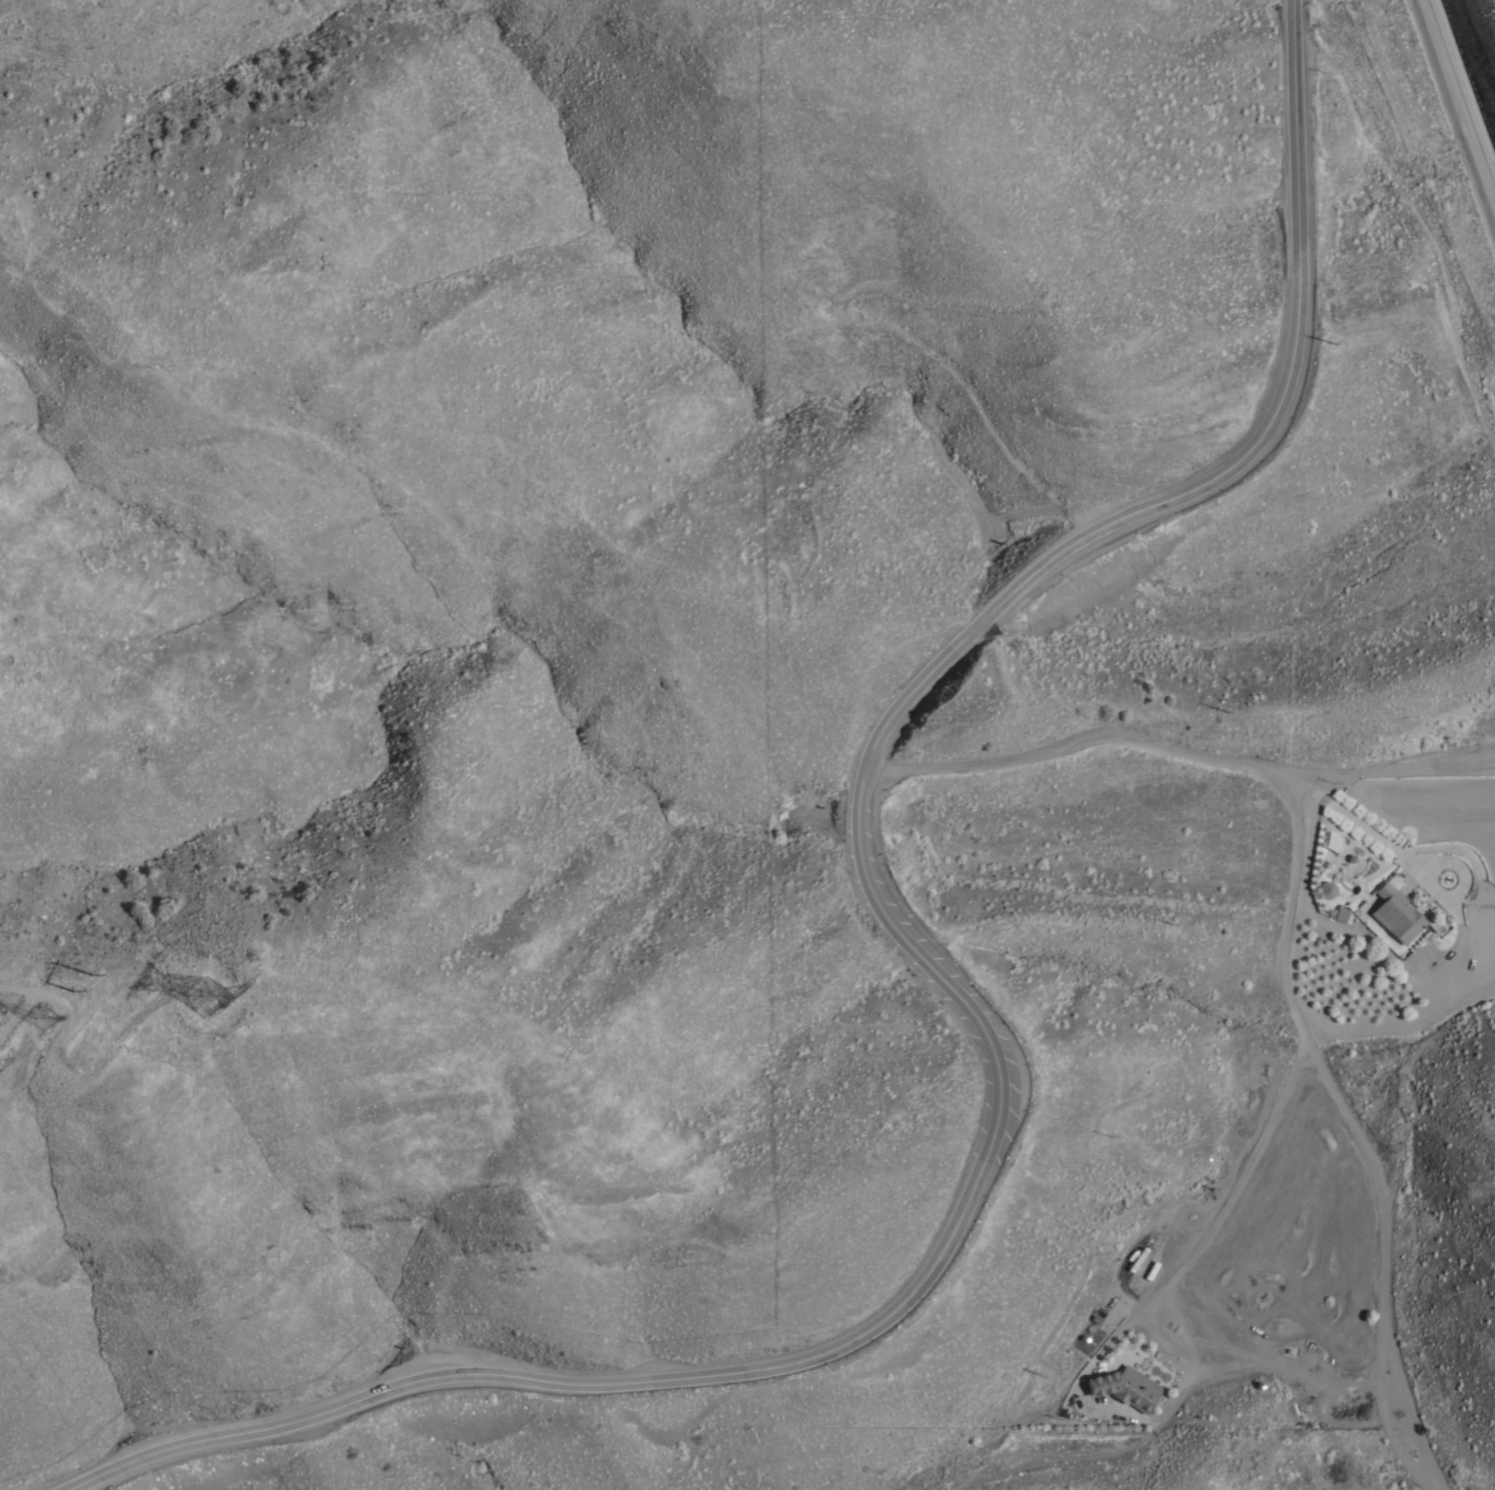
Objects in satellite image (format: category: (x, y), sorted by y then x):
road: (1456, 105)
road: (1365, 829)
building: (1325, 889)
building: (1395, 913)
building: (1340, 914)
road: (1286, 937)
power tower: (84, 984)
road: (953, 990)
power tower: (201, 1000)
power tower: (41, 1018)
road: (1213, 1222)
building: (1124, 1387)
road: (1168, 1412)

